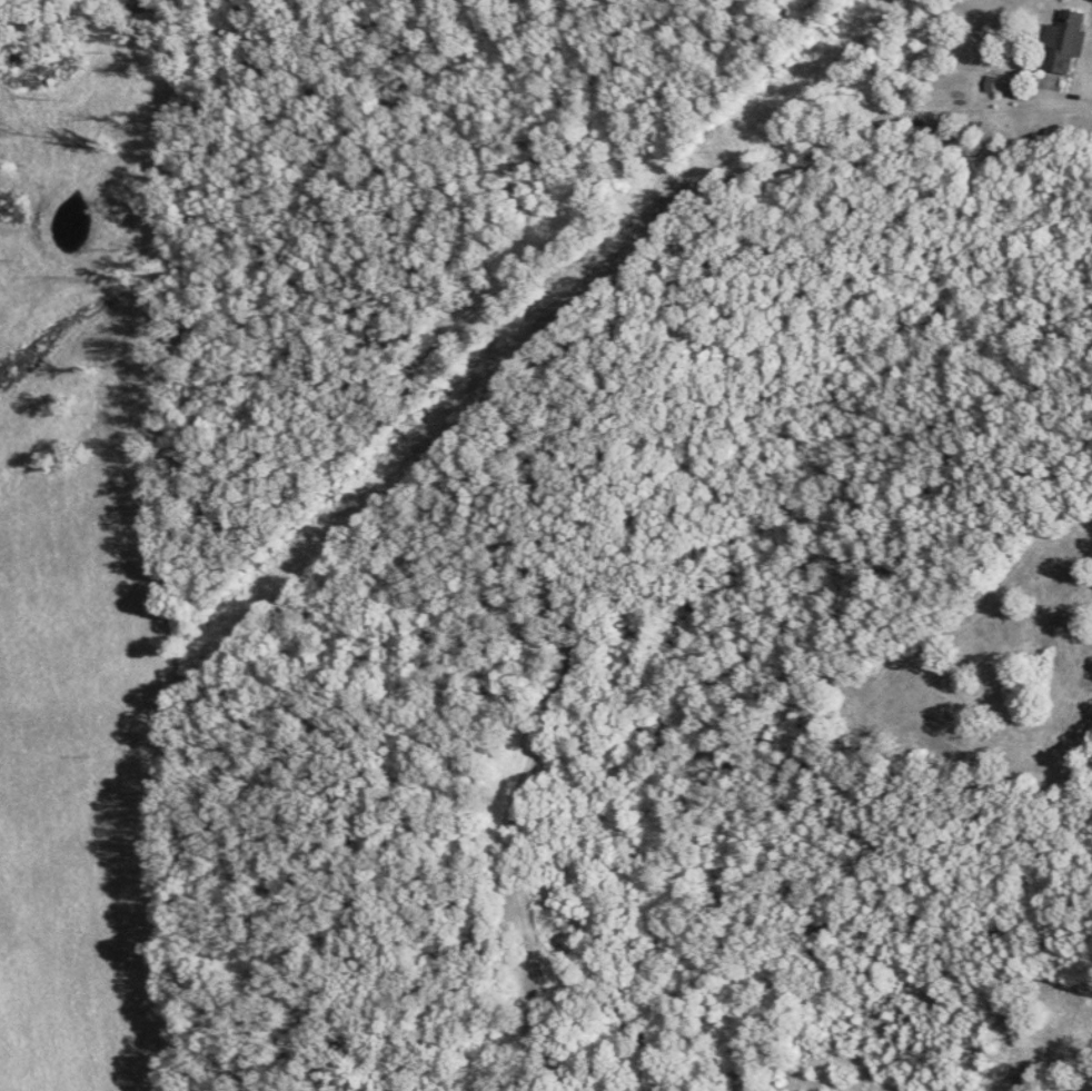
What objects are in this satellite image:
building: (1071, 42)
road: (1078, 105)

